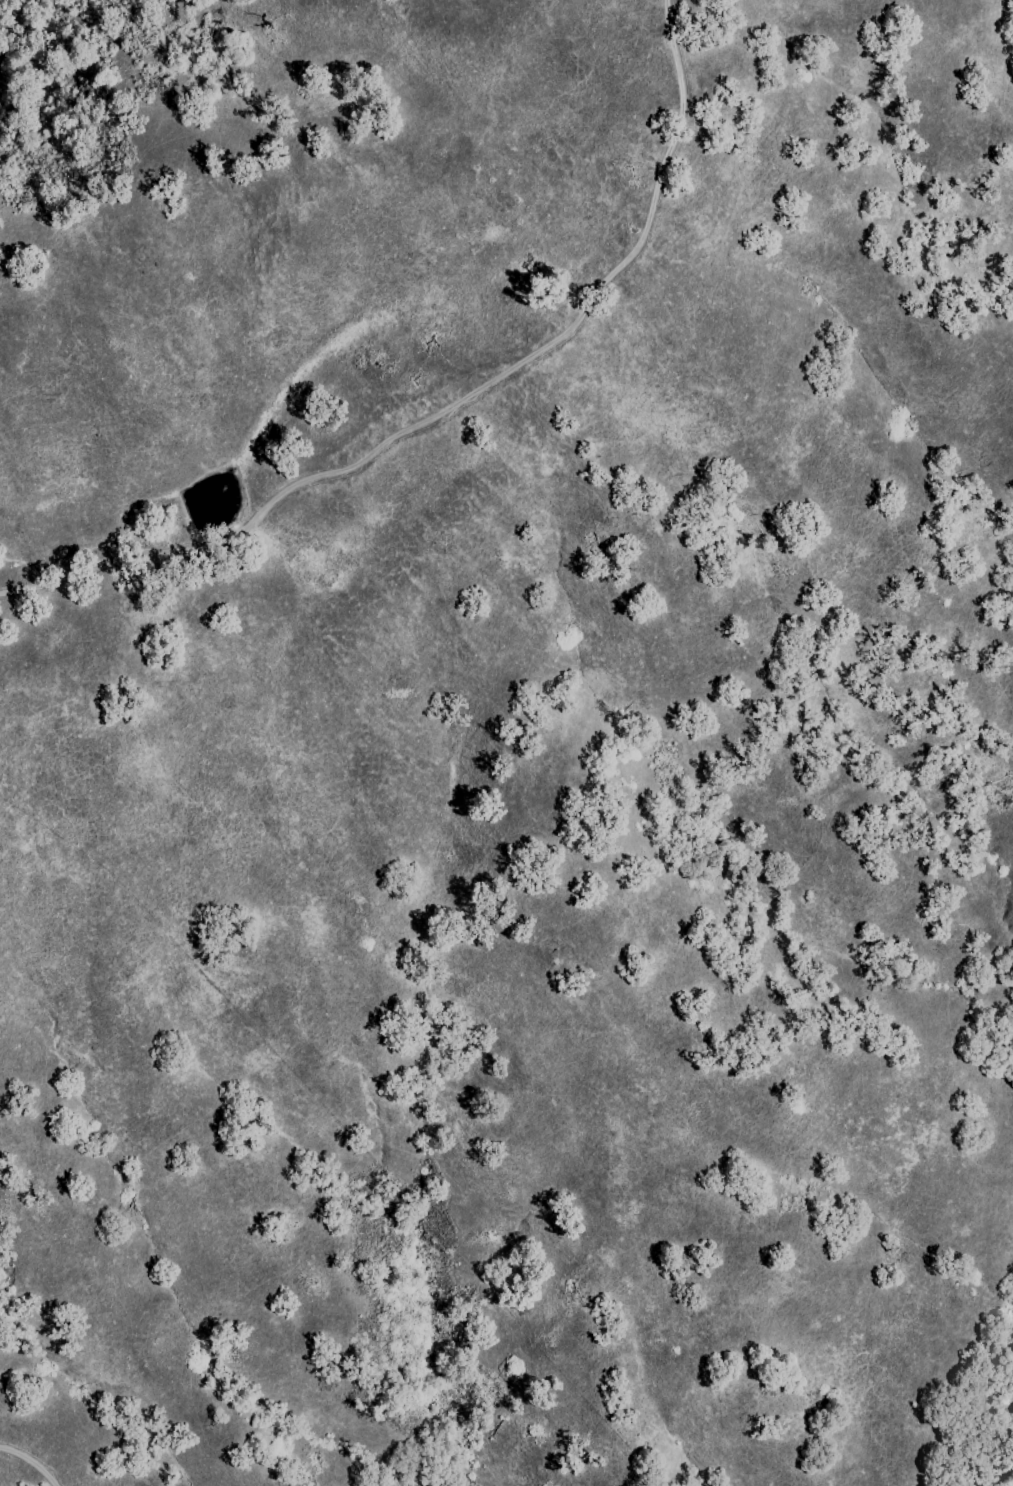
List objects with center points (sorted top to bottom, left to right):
road: (456, 404)
road: (29, 1466)

